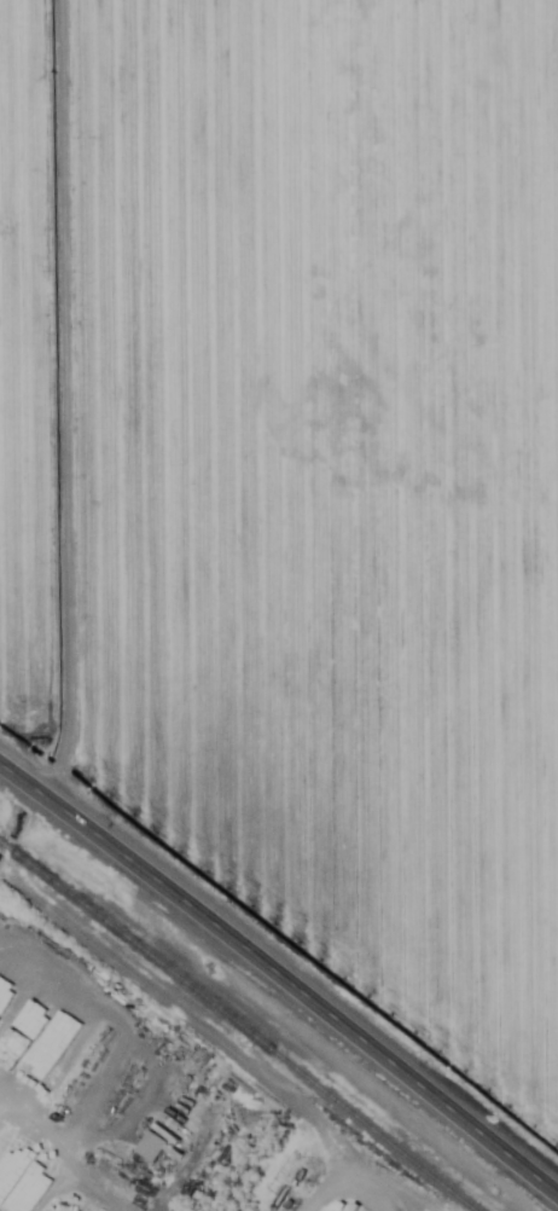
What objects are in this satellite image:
crop: (267, 10)
crop: (300, 485)
railway: (8, 848)
road: (280, 978)
building: (47, 1006)
railway: (246, 1031)
building: (147, 1146)

